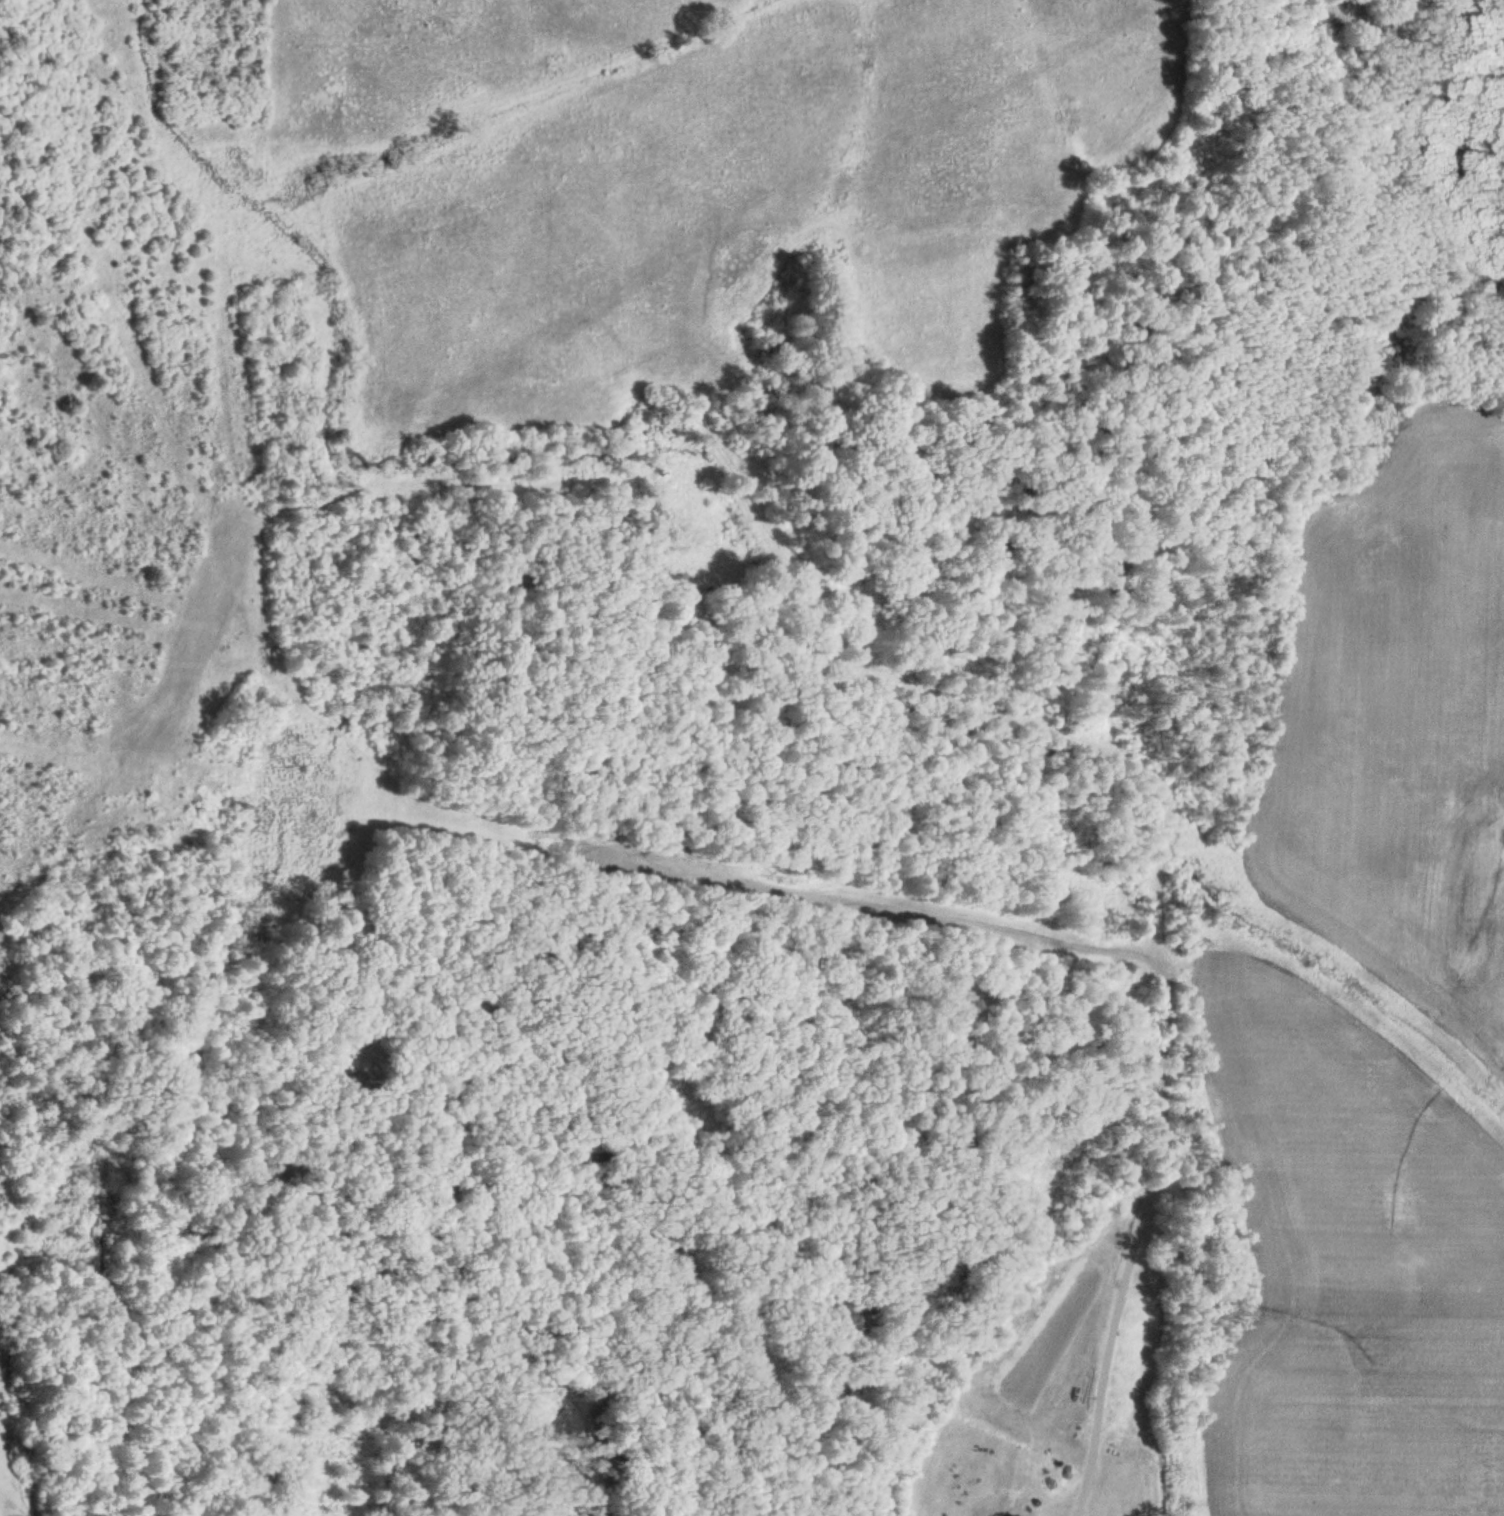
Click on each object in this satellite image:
building: (1003, 1515)

